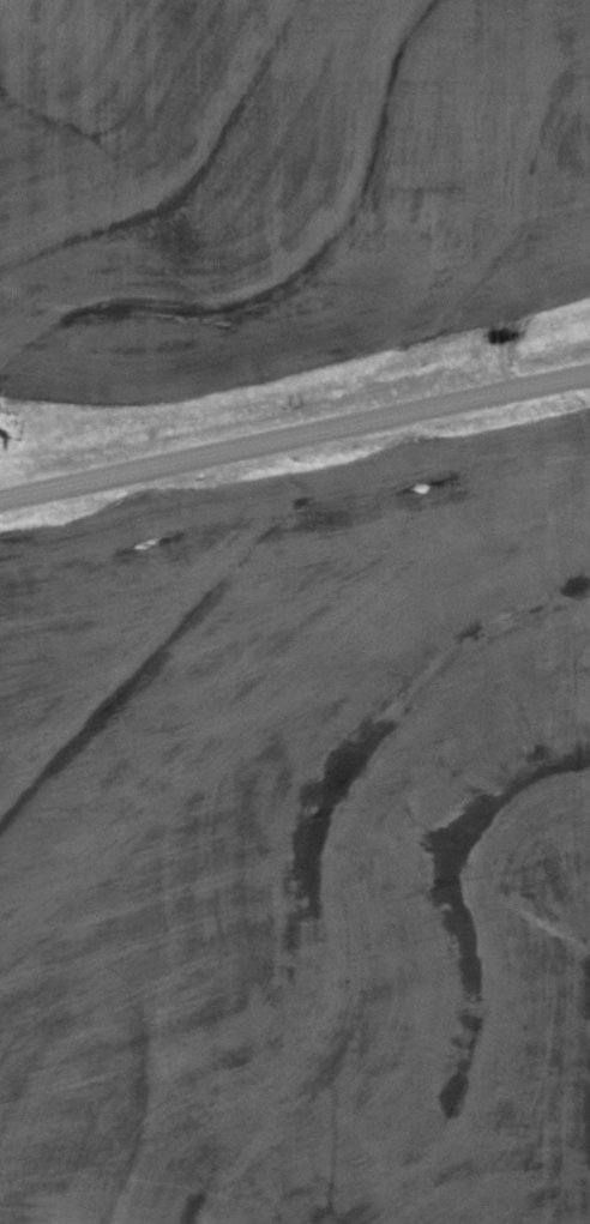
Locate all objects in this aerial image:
crop: (278, 181)
road: (294, 438)
crop: (302, 845)

